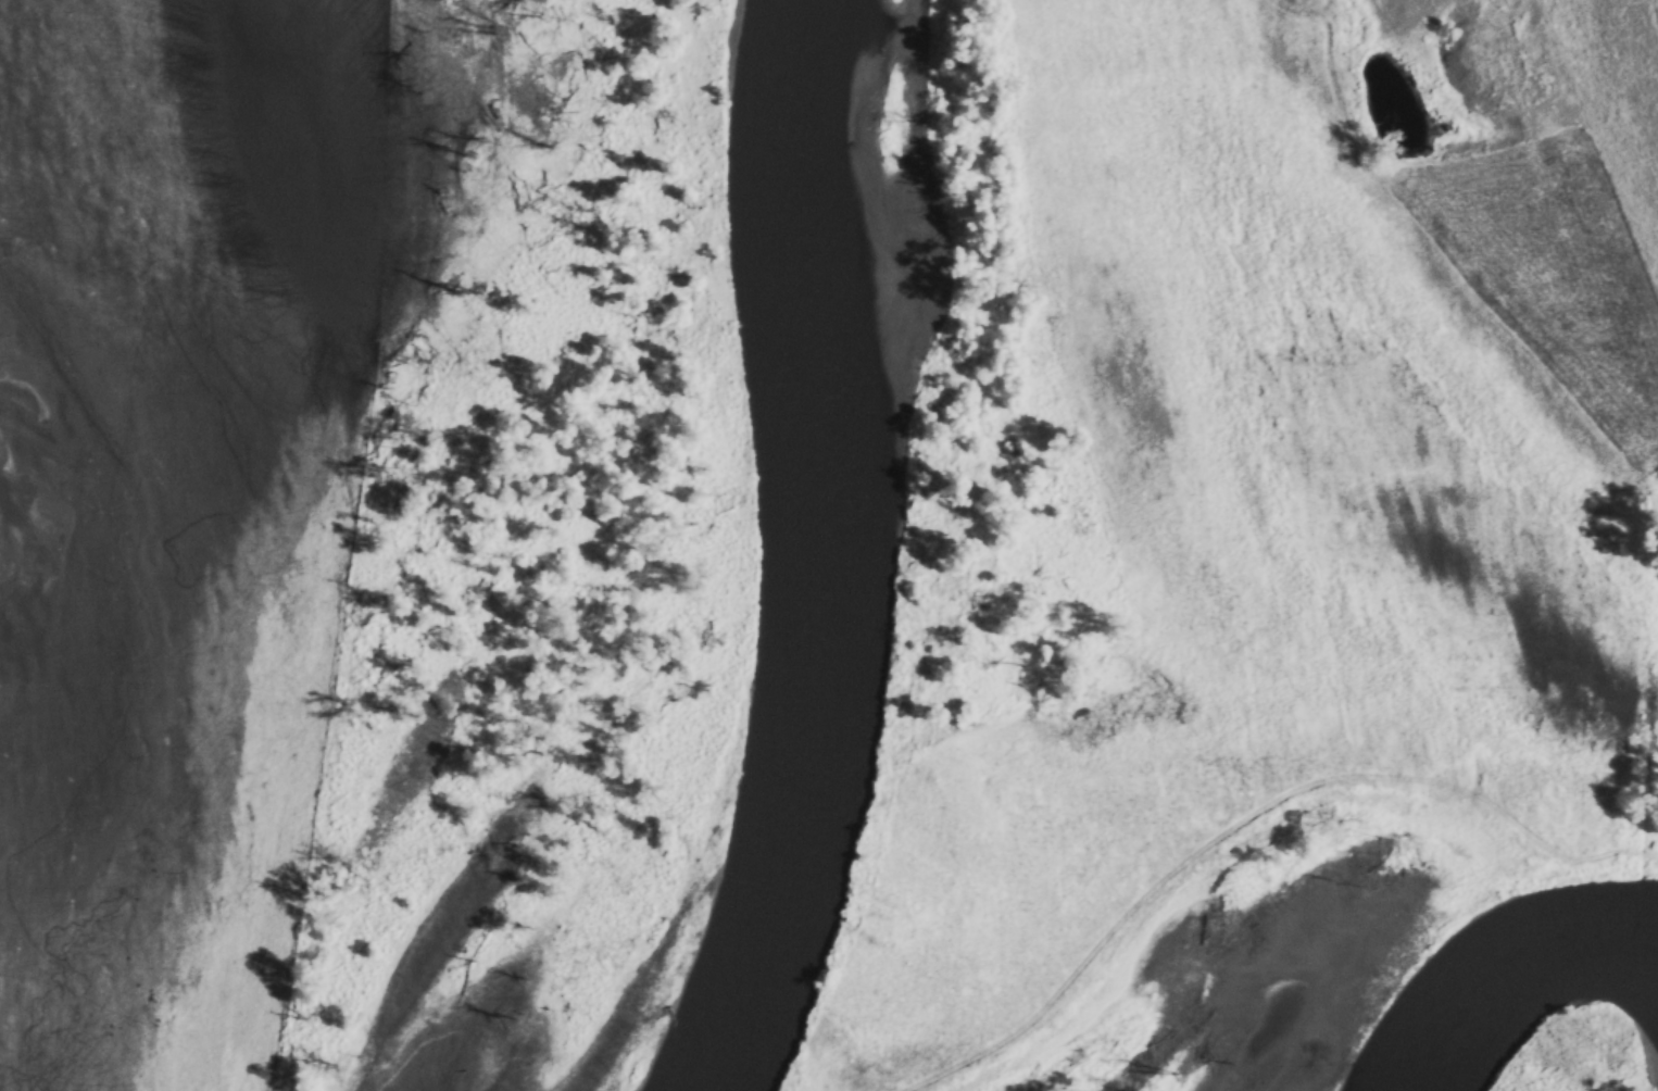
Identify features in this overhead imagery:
river: (831, 556)
river: (1496, 980)

